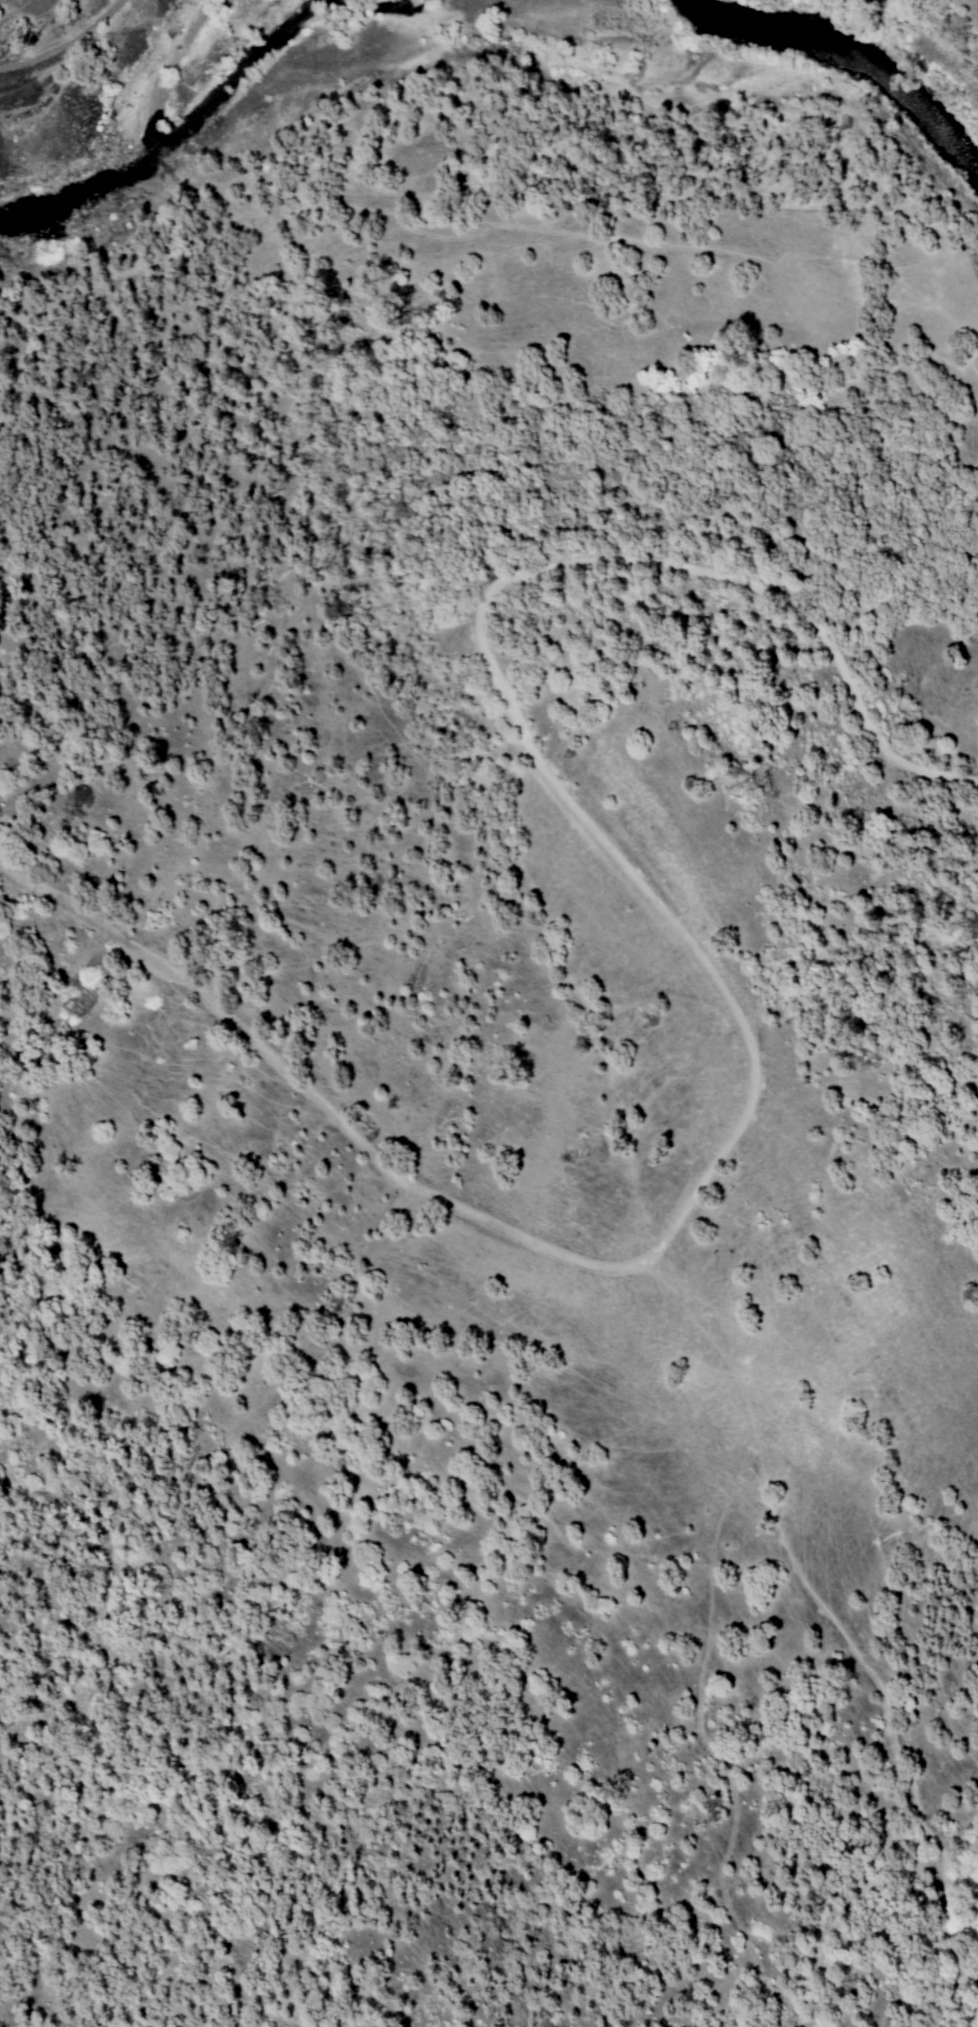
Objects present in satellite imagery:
road: (68, 38)
river: (831, 51)
river: (309, 69)
river: (225, 76)
river: (82, 203)

